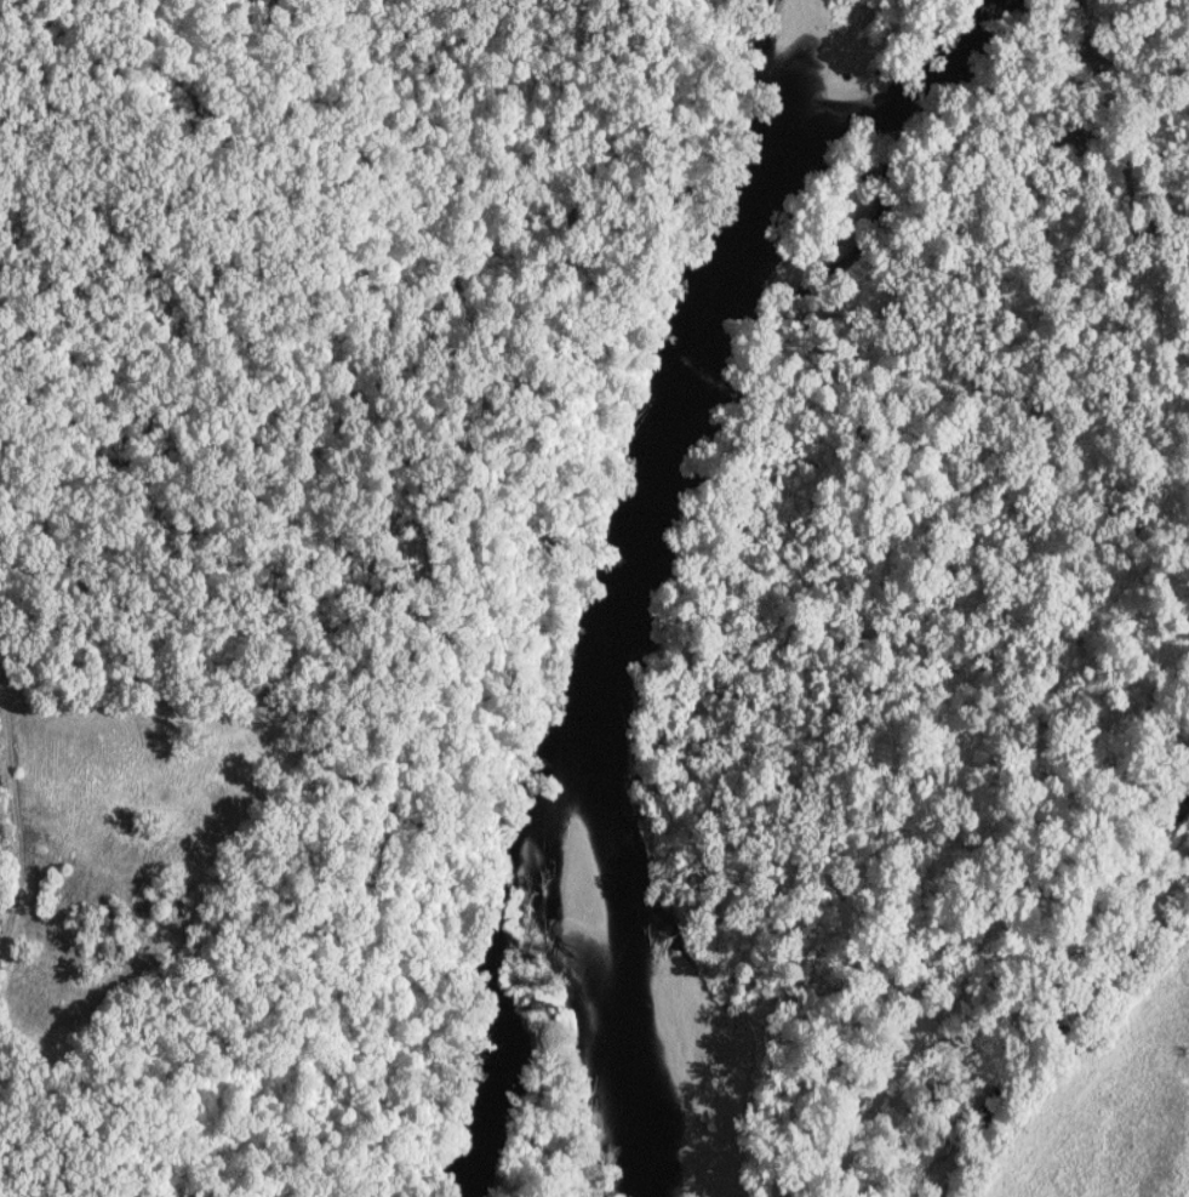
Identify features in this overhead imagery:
river: (608, 599)
road: (23, 822)

